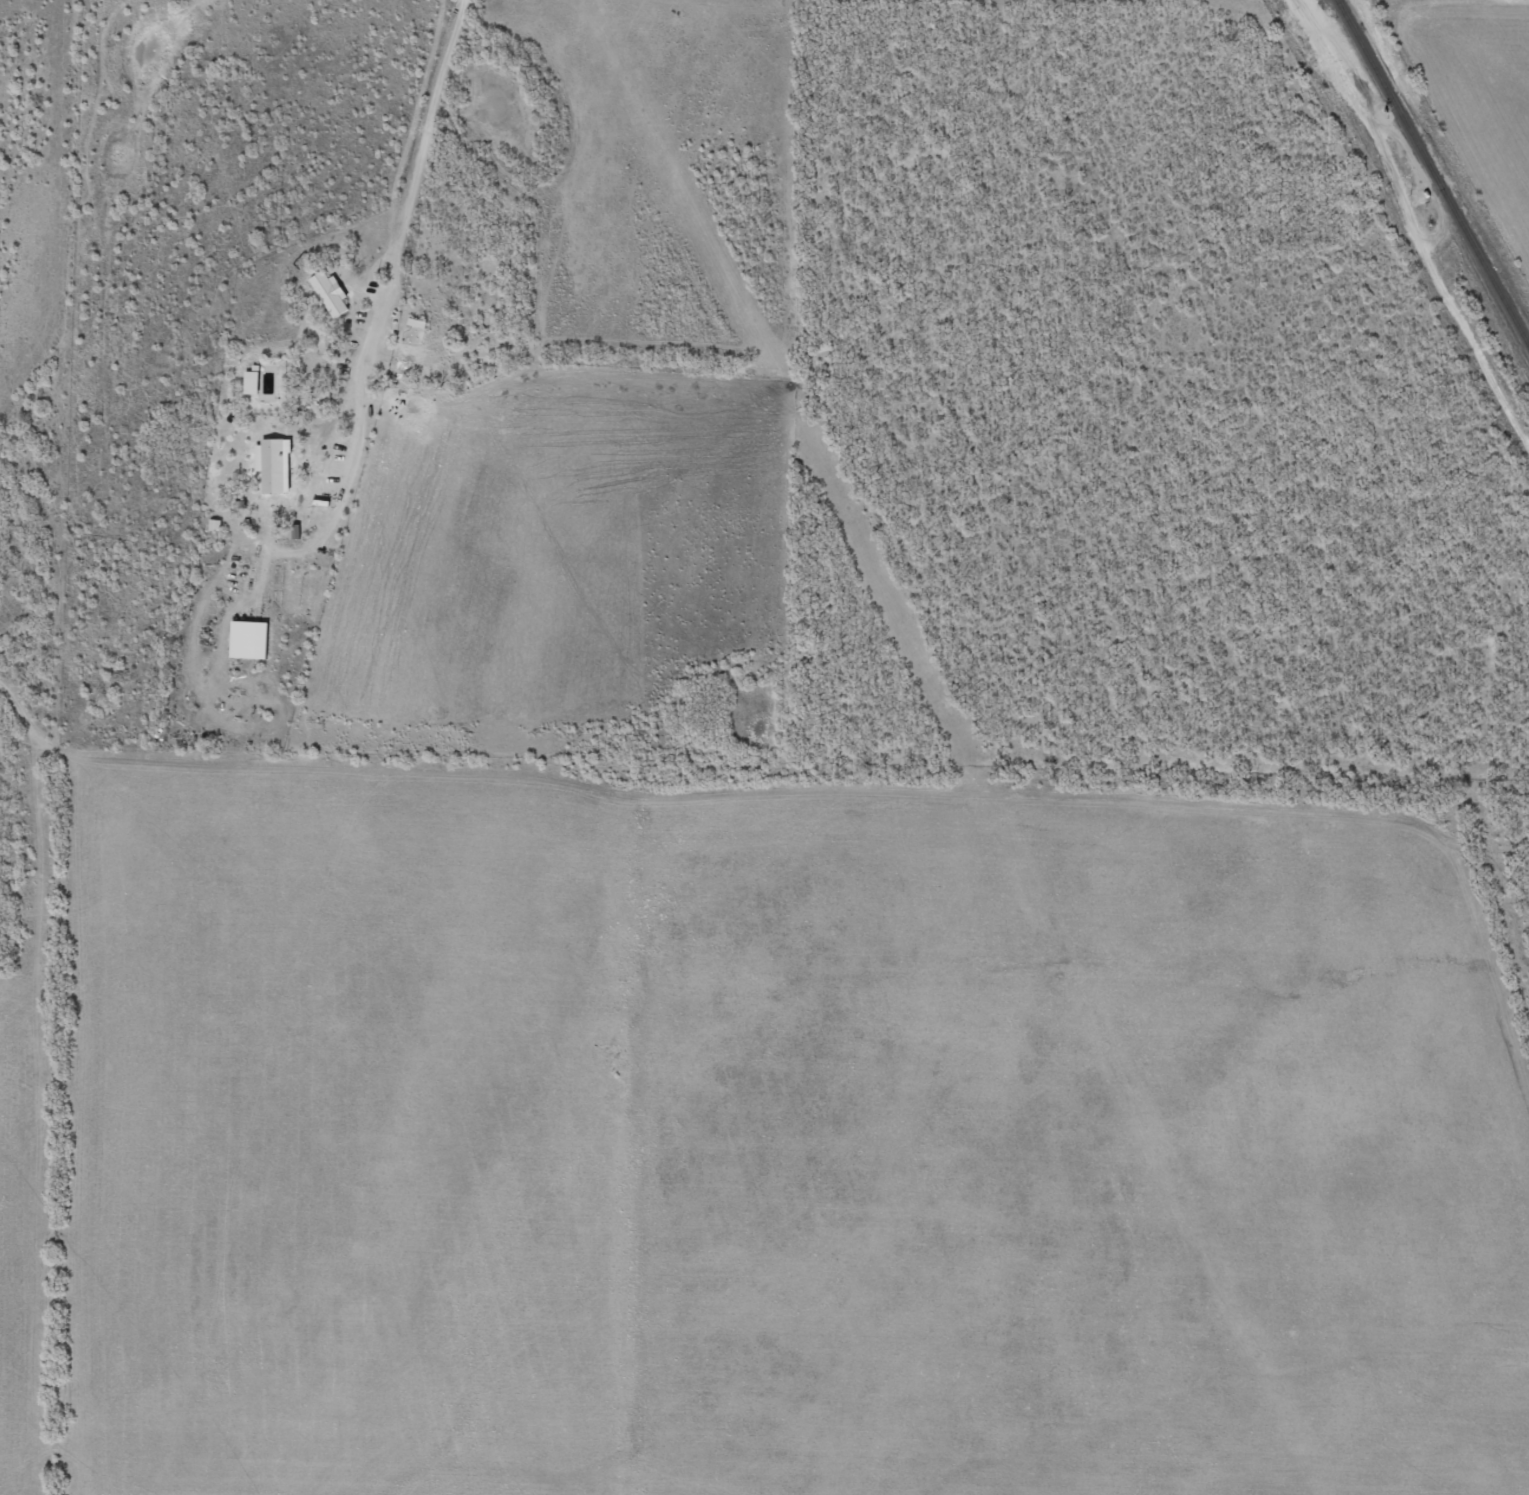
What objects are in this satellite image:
road: (379, 9)
railway: (1431, 176)
road: (418, 269)
road: (1393, 287)
building: (327, 292)
building: (248, 381)
building: (271, 465)
building: (245, 640)

